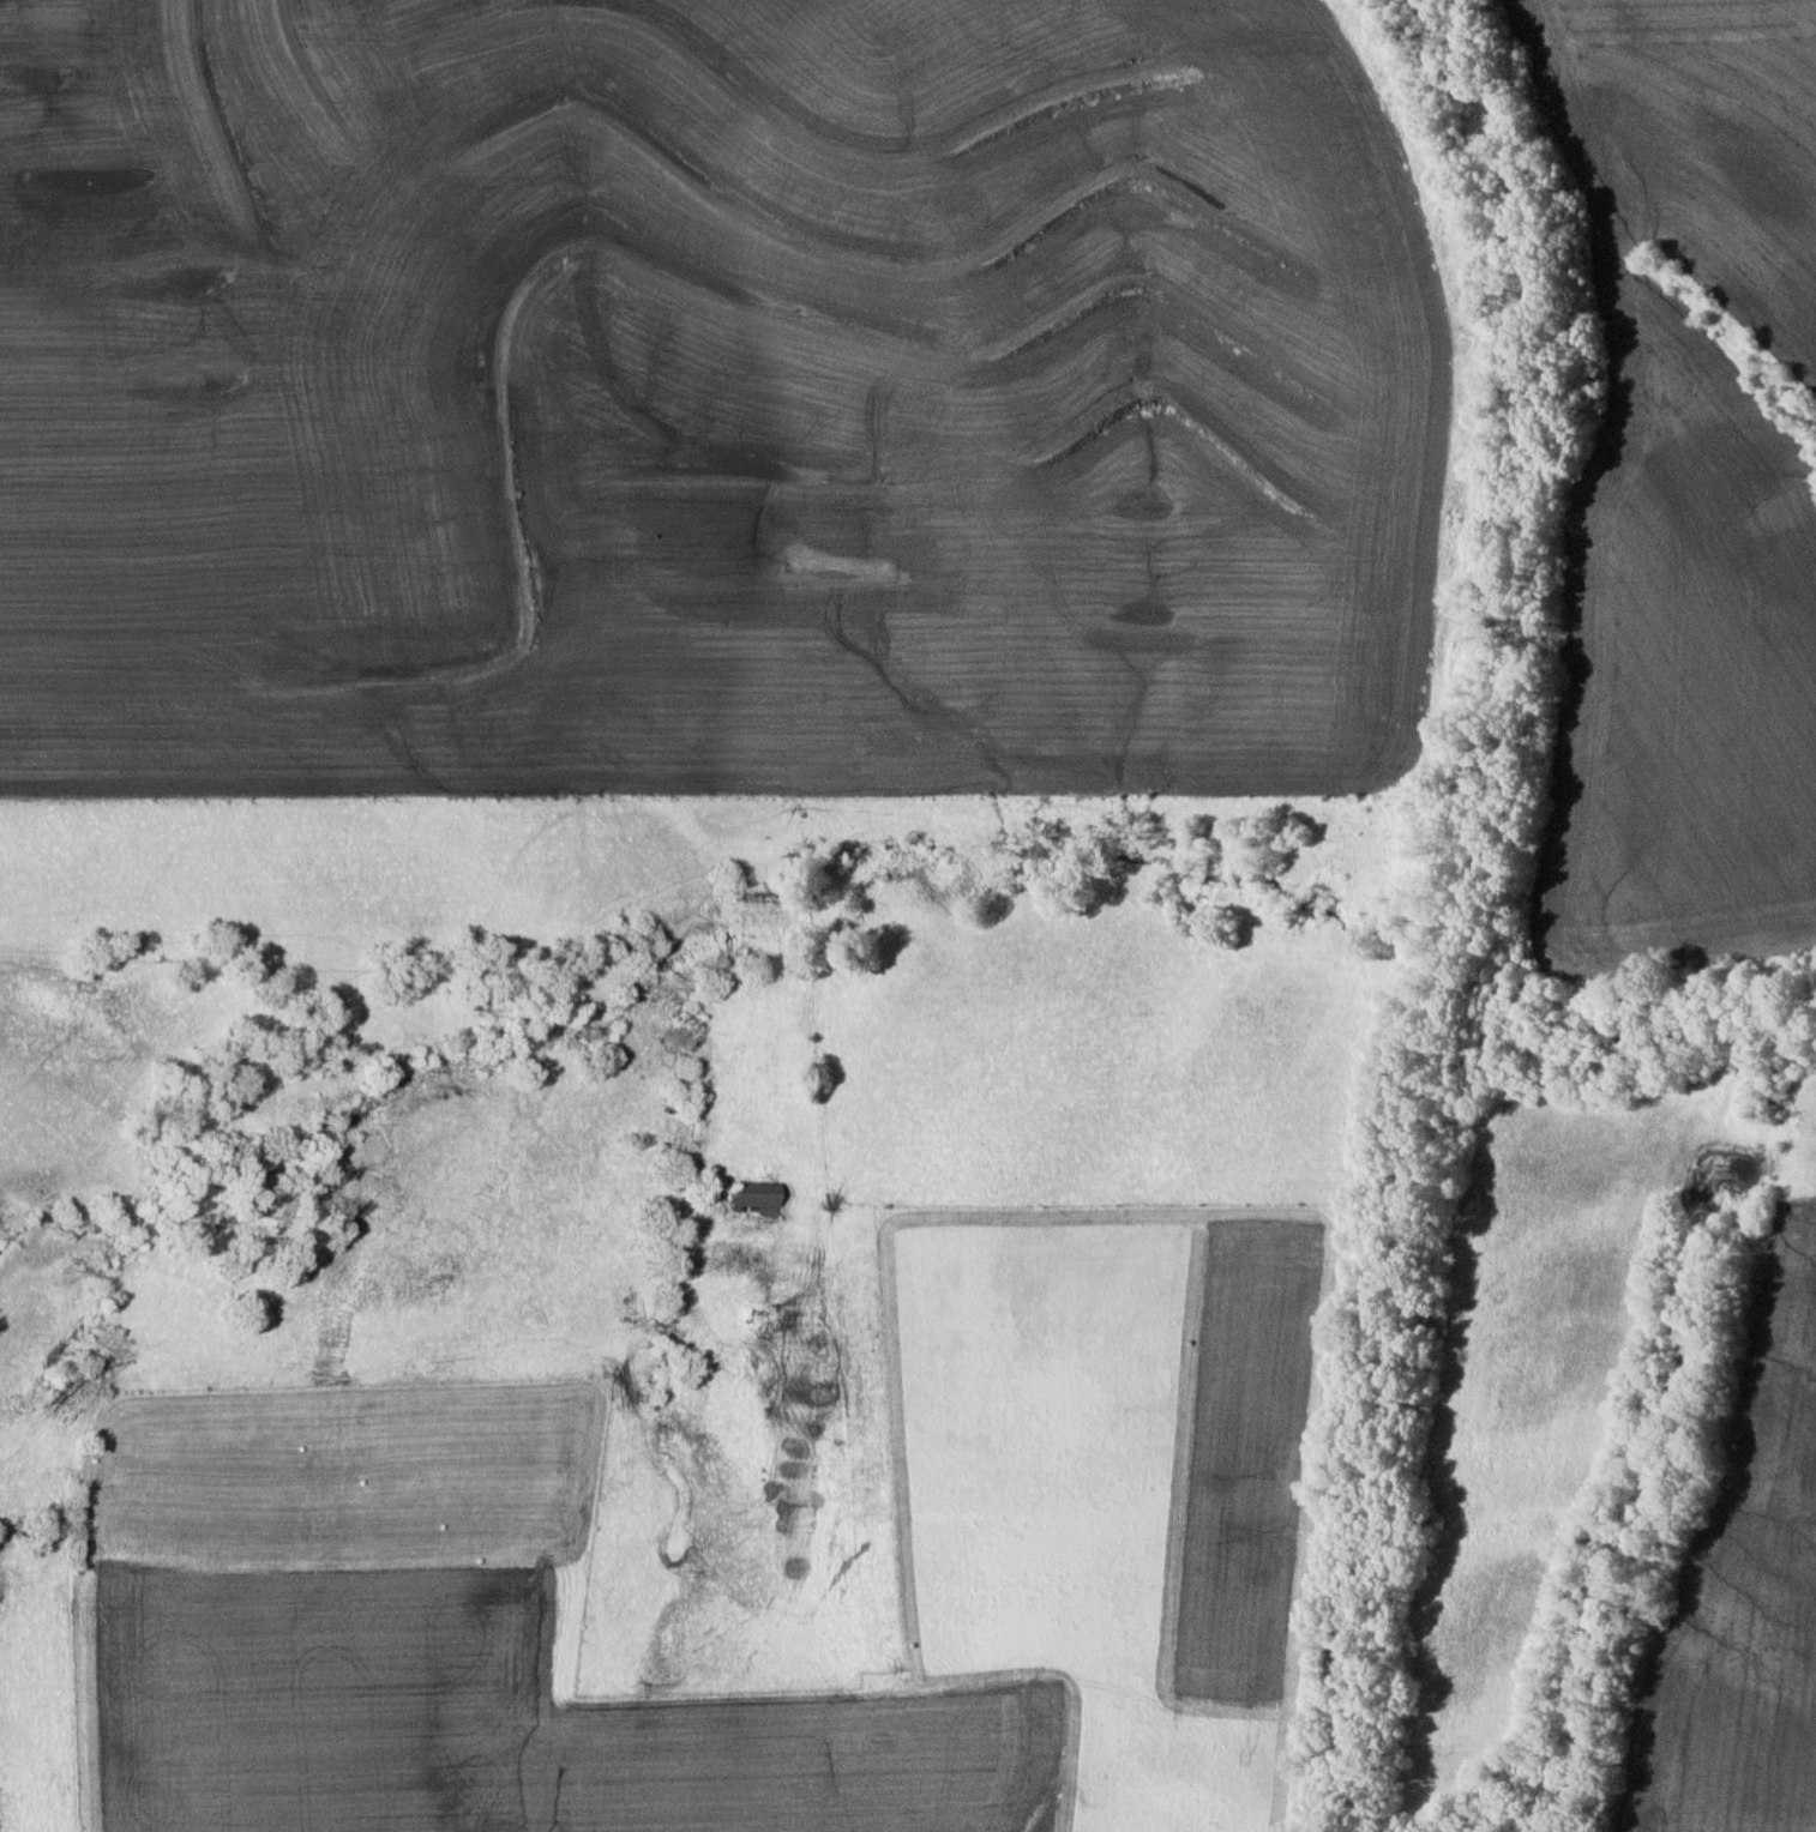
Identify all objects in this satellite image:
crop: (709, 399)
crop: (1682, 498)
building: (751, 1200)
road: (620, 1366)
crop: (1744, 1595)

